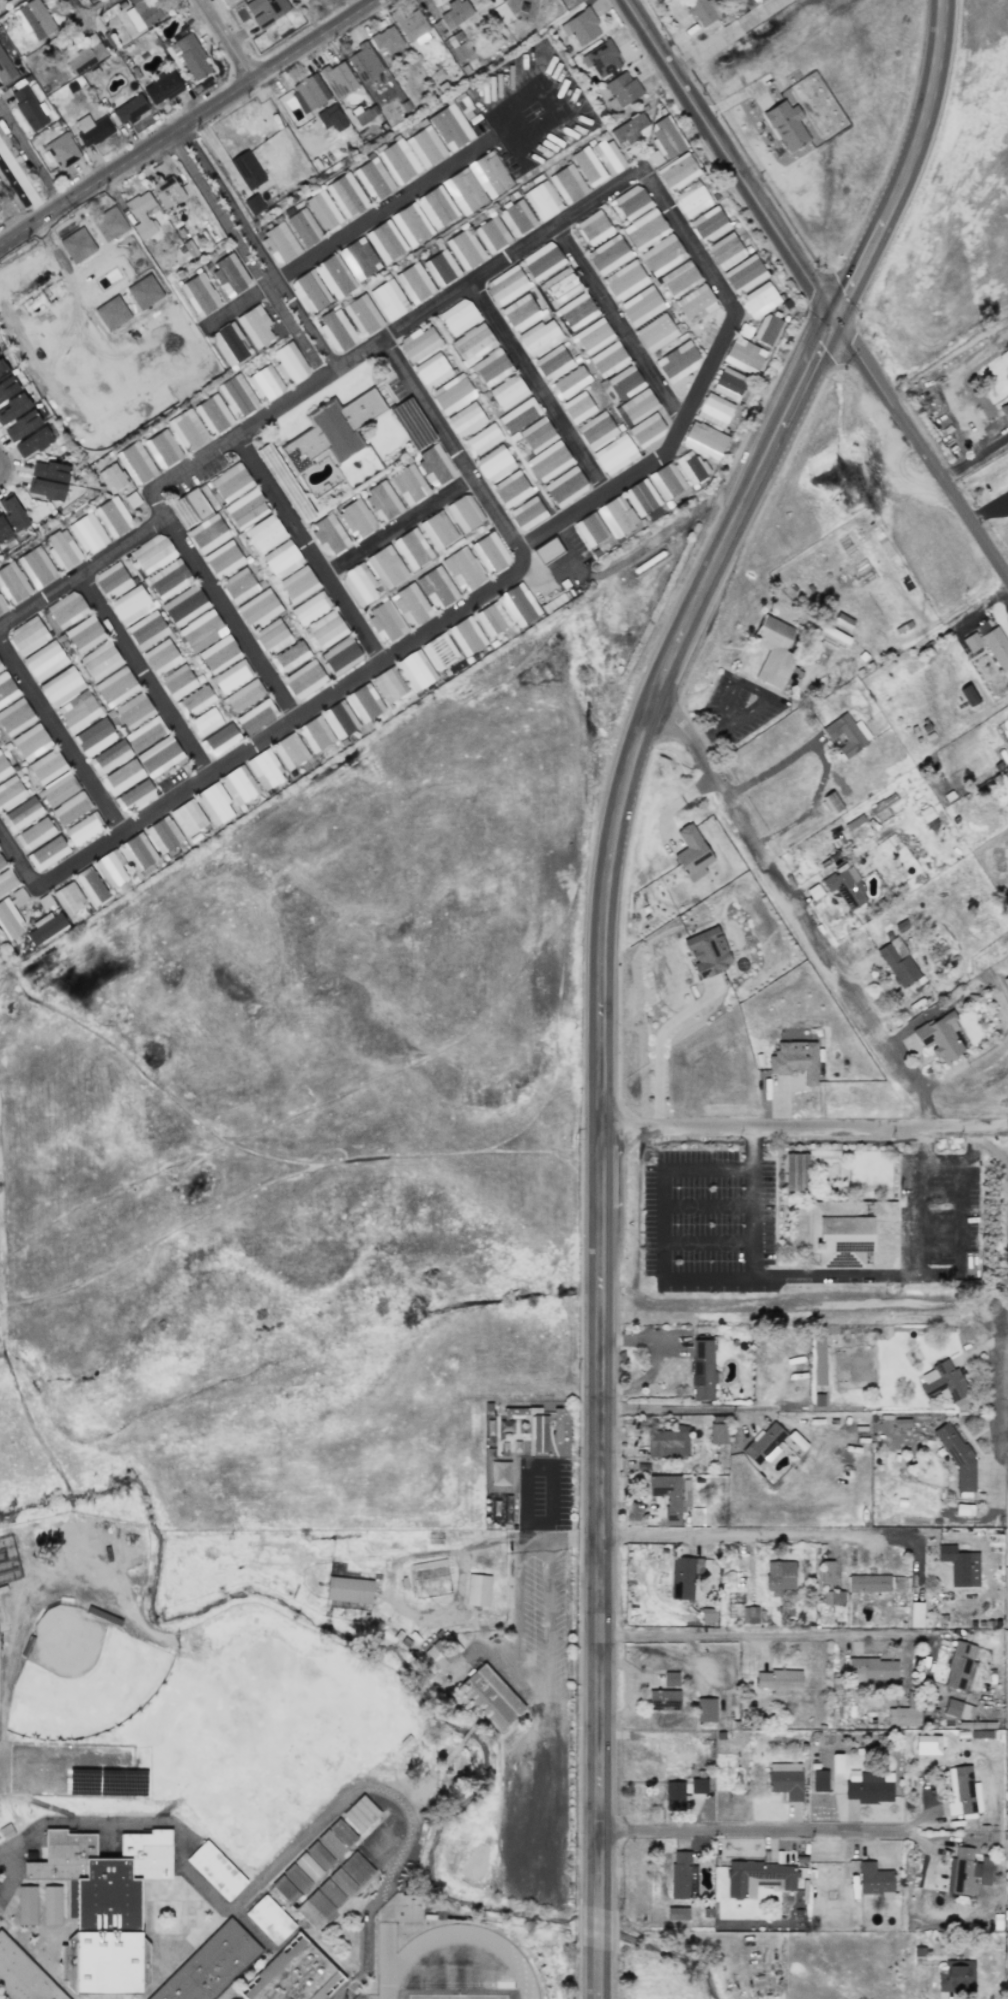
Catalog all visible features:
road: (95, 6)
building: (265, 11)
building: (702, 11)
building: (455, 13)
building: (141, 14)
building: (36, 19)
building: (410, 25)
building: (580, 27)
road: (722, 35)
building: (386, 39)
road: (225, 40)
building: (461, 51)
building: (83, 55)
building: (188, 56)
building: (601, 59)
building: (364, 62)
building: (6, 69)
building: (338, 79)
building: (161, 87)
building: (621, 90)
building: (309, 92)
building: (28, 108)
building: (129, 109)
building: (365, 115)
building: (331, 118)
road: (186, 122)
building: (785, 125)
building: (449, 127)
building: (627, 129)
building: (92, 130)
building: (664, 141)
building: (425, 146)
building: (62, 150)
building: (608, 155)
road: (731, 159)
building: (398, 161)
road: (911, 165)
building: (586, 166)
road: (27, 170)
building: (247, 170)
building: (676, 172)
building: (489, 174)
building: (373, 179)
building: (566, 183)
building: (166, 191)
building: (463, 191)
building: (345, 195)
building: (691, 199)
building: (541, 200)
building: (631, 202)
building: (253, 204)
building: (436, 207)
building: (322, 211)
building: (141, 214)
building: (516, 217)
building: (108, 224)
building: (410, 224)
building: (708, 224)
building: (303, 227)
building: (593, 227)
building: (644, 230)
road: (349, 234)
building: (491, 234)
building: (385, 241)
building: (279, 242)
building: (77, 245)
building: (464, 249)
road: (254, 251)
building: (724, 251)
road: (34, 253)
building: (606, 254)
building: (661, 255)
building: (358, 259)
building: (541, 261)
road: (495, 267)
building: (440, 268)
building: (229, 274)
building: (744, 274)
building: (334, 276)
building: (678, 279)
building: (623, 280)
building: (413, 283)
building: (504, 285)
building: (559, 285)
building: (144, 292)
building: (309, 292)
building: (199, 294)
building: (388, 299)
building: (758, 300)
building: (694, 304)
building: (640, 306)
building: (575, 311)
building: (519, 312)
building: (111, 313)
building: (362, 315)
building: (457, 316)
road: (621, 323)
building: (254, 326)
building: (766, 329)
building: (335, 330)
road: (19, 332)
building: (655, 332)
building: (591, 336)
building: (537, 337)
building: (228, 343)
building: (418, 344)
building: (480, 355)
building: (742, 356)
building: (607, 359)
building: (677, 362)
building: (289, 363)
building: (551, 363)
building: (3, 370)
building: (431, 370)
building: (1006, 375)
building: (568, 382)
building: (265, 383)
building: (622, 383)
building: (728, 383)
road: (539, 387)
building: (7, 388)
building: (506, 392)
building: (451, 394)
building: (237, 395)
building: (637, 405)
building: (13, 407)
building: (577, 407)
building: (713, 410)
building: (1004, 410)
building: (212, 414)
building: (518, 415)
building: (465, 420)
building: (21, 426)
building: (186, 430)
building: (595, 430)
building: (646, 430)
building: (536, 434)
building: (336, 438)
building: (481, 439)
building: (703, 440)
building: (32, 442)
road: (923, 447)
building: (162, 449)
building: (614, 454)
road: (975, 456)
building: (548, 461)
building: (135, 463)
building: (493, 464)
building: (434, 465)
building: (690, 466)
building: (49, 471)
building: (111, 478)
building: (666, 481)
building: (231, 482)
building: (408, 484)
building: (565, 486)
building: (45, 489)
building: (510, 489)
building: (640, 497)
building: (381, 501)
building: (195, 504)
building: (245, 509)
building: (12, 512)
building: (464, 512)
building: (527, 513)
building: (616, 516)
building: (112, 517)
building: (356, 519)
road: (401, 526)
building: (590, 529)
building: (3, 530)
building: (437, 530)
building: (207, 533)
building: (264, 533)
building: (87, 534)
building: (328, 535)
road: (310, 549)
building: (411, 549)
building: (62, 550)
building: (547, 551)
building: (152, 553)
building: (490, 553)
building: (281, 558)
building: (223, 559)
building: (36, 567)
building: (386, 567)
building: (463, 569)
road: (85, 572)
building: (168, 579)
building: (112, 580)
building: (12, 584)
building: (298, 584)
building: (358, 584)
building: (238, 585)
building: (436, 588)
building: (130, 605)
building: (184, 605)
building: (410, 605)
building: (518, 605)
building: (1, 607)
building: (310, 608)
building: (66, 609)
building: (258, 609)
building: (491, 619)
building: (842, 621)
building: (385, 622)
building: (146, 630)
building: (325, 630)
building: (201, 631)
building: (84, 634)
building: (27, 636)
building: (271, 636)
building: (466, 636)
building: (990, 645)
building: (439, 651)
building: (774, 652)
building: (218, 654)
building: (341, 656)
building: (161, 657)
building: (289, 657)
building: (44, 660)
building: (100, 660)
building: (0, 666)
building: (415, 670)
road: (365, 674)
road: (145, 676)
building: (231, 676)
building: (304, 679)
building: (177, 682)
building: (388, 685)
building: (61, 686)
building: (115, 686)
building: (6, 689)
building: (968, 695)
building: (244, 696)
building: (194, 701)
building: (364, 703)
building: (133, 710)
building: (78, 711)
building: (256, 716)
building: (15, 717)
building: (339, 719)
building: (204, 722)
building: (145, 733)
building: (315, 734)
building: (846, 734)
road: (62, 735)
building: (94, 737)
building: (219, 740)
building: (31, 742)
building: (289, 750)
building: (159, 756)
building: (109, 757)
road: (820, 759)
building: (47, 766)
building: (3, 767)
building: (265, 769)
building: (121, 777)
building: (238, 785)
building: (58, 790)
building: (11, 793)
building: (135, 797)
building: (214, 803)
building: (829, 803)
building: (71, 808)
building: (21, 814)
building: (187, 817)
building: (84, 828)
building: (34, 833)
building: (162, 835)
building: (137, 852)
building: (47, 853)
building: (691, 853)
building: (1, 863)
building: (110, 869)
building: (7, 881)
building: (91, 886)
building: (846, 887)
building: (68, 898)
road: (799, 912)
building: (9, 920)
building: (45, 927)
building: (707, 952)
building: (897, 962)
road: (0, 975)
building: (940, 1037)
road: (658, 1046)
building: (794, 1060)
road: (806, 1127)
road: (604, 1133)
road: (925, 1145)
building: (796, 1172)
road: (704, 1203)
road: (657, 1217)
building: (852, 1234)
road: (704, 1239)
road: (898, 1274)
road: (1002, 1292)
building: (702, 1369)
road: (692, 1407)
building: (718, 1433)
building: (538, 1434)
building: (668, 1442)
building: (763, 1443)
building: (957, 1457)
building: (670, 1495)
road: (523, 1505)
road: (754, 1536)
building: (960, 1566)
building: (826, 1572)
building: (779, 1577)
building: (681, 1578)
building: (868, 1583)
building: (348, 1589)
building: (477, 1590)
building: (833, 1597)
building: (734, 1605)
building: (750, 1614)
building: (915, 1614)
building: (707, 1615)
road: (511, 1634)
road: (760, 1643)
building: (441, 1650)
building: (959, 1666)
building: (872, 1669)
park: (82, 1677)
building: (670, 1679)
building: (777, 1680)
building: (489, 1697)
building: (663, 1700)
building: (705, 1709)
building: (958, 1709)
building: (904, 1714)
building: (927, 1745)
building: (836, 1767)
road: (545, 1776)
building: (785, 1779)
building: (819, 1780)
building: (698, 1785)
building: (869, 1786)
building: (962, 1791)
building: (675, 1796)
building: (360, 1813)
building: (342, 1832)
road: (753, 1832)
building: (330, 1844)
building: (319, 1855)
building: (307, 1866)
building: (215, 1870)
building: (966, 1871)
building: (350, 1874)
building: (681, 1875)
building: (296, 1877)
building: (758, 1878)
building: (874, 1880)
building: (285, 1889)
building: (331, 1892)
building: (26, 1905)
building: (51, 1905)
building: (314, 1909)
building: (269, 1919)
building: (106, 1933)
track: (394, 1964)
building: (213, 1966)
building: (23, 1976)
building: (294, 1976)
building: (956, 1977)
park: (458, 1996)

